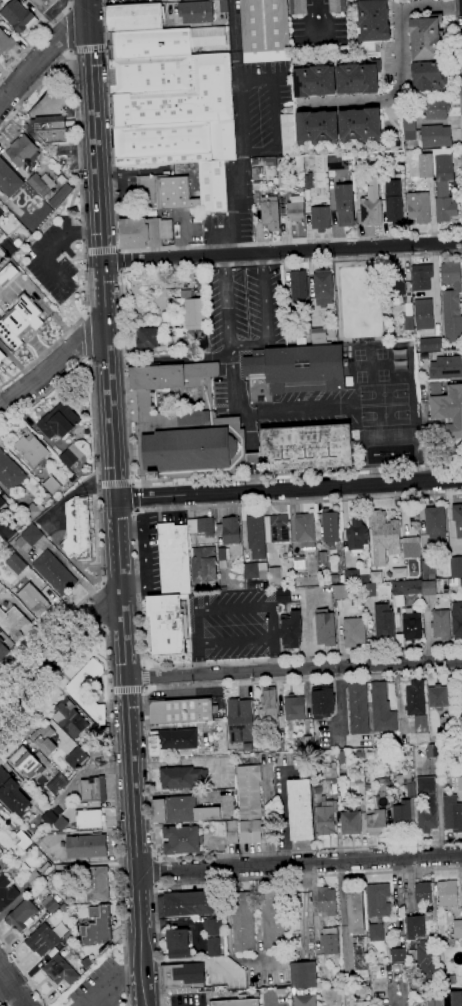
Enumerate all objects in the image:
building: (44, 4)
building: (223, 6)
building: (337, 6)
building: (297, 7)
building: (196, 12)
building: (17, 16)
building: (134, 18)
building: (374, 20)
road: (67, 30)
building: (265, 30)
building: (208, 37)
building: (426, 38)
road: (35, 39)
building: (6, 42)
building: (150, 44)
road: (89, 48)
road: (40, 59)
road: (458, 69)
road: (400, 72)
building: (152, 74)
building: (429, 76)
building: (358, 77)
building: (314, 80)
building: (182, 98)
building: (435, 109)
road: (275, 115)
building: (360, 125)
building: (317, 127)
building: (409, 127)
building: (52, 128)
road: (76, 128)
road: (240, 131)
building: (288, 135)
building: (436, 136)
building: (174, 143)
building: (22, 151)
building: (237, 155)
building: (270, 161)
building: (337, 161)
building: (254, 162)
building: (426, 166)
building: (256, 173)
building: (9, 180)
building: (308, 180)
building: (359, 180)
building: (443, 184)
building: (41, 185)
building: (212, 186)
building: (256, 187)
building: (165, 193)
building: (60, 195)
building: (282, 200)
building: (393, 202)
building: (344, 205)
building: (371, 205)
building: (296, 207)
building: (419, 208)
building: (282, 212)
building: (1, 213)
building: (270, 213)
building: (320, 218)
building: (33, 221)
building: (144, 232)
building: (9, 246)
road: (165, 247)
road: (101, 251)
road: (282, 252)
road: (119, 261)
building: (7, 271)
building: (422, 277)
building: (397, 283)
building: (298, 287)
building: (323, 287)
road: (227, 301)
building: (451, 304)
building: (195, 314)
building: (424, 314)
road: (266, 317)
building: (19, 321)
building: (408, 323)
building: (296, 332)
road: (87, 335)
building: (318, 336)
building: (147, 338)
building: (430, 345)
road: (45, 351)
building: (2, 356)
building: (401, 361)
road: (52, 365)
building: (298, 368)
building: (446, 368)
road: (125, 372)
park: (383, 395)
building: (144, 399)
road: (238, 402)
road: (301, 410)
park: (384, 415)
building: (446, 417)
building: (58, 421)
building: (305, 448)
building: (31, 449)
building: (196, 450)
building: (71, 455)
road: (253, 458)
building: (10, 472)
road: (254, 476)
building: (51, 484)
road: (114, 484)
road: (288, 488)
road: (98, 489)
road: (136, 498)
building: (2, 502)
road: (116, 502)
building: (31, 512)
building: (457, 519)
building: (330, 527)
building: (279, 528)
building: (437, 529)
building: (77, 530)
building: (229, 530)
building: (305, 530)
building: (6, 531)
building: (357, 535)
building: (29, 536)
building: (256, 536)
building: (383, 537)
building: (411, 547)
building: (202, 550)
road: (141, 553)
building: (223, 557)
building: (323, 557)
building: (174, 559)
building: (15, 563)
building: (299, 563)
building: (456, 567)
building: (254, 569)
building: (428, 570)
building: (398, 572)
building: (54, 573)
building: (274, 576)
building: (355, 577)
building: (376, 577)
building: (335, 578)
building: (455, 582)
road: (103, 583)
road: (139, 584)
building: (407, 587)
building: (428, 588)
building: (369, 590)
building: (342, 592)
building: (283, 596)
building: (33, 599)
road: (104, 605)
road: (234, 608)
building: (457, 619)
building: (13, 623)
building: (384, 623)
building: (167, 624)
building: (441, 624)
building: (412, 625)
road: (103, 627)
building: (291, 629)
building: (326, 629)
building: (354, 631)
road: (273, 638)
road: (236, 641)
road: (197, 642)
building: (3, 651)
road: (57, 653)
road: (144, 666)
road: (294, 669)
road: (144, 676)
building: (461, 685)
road: (146, 687)
road: (129, 689)
road: (111, 690)
building: (438, 697)
building: (82, 698)
building: (415, 698)
building: (323, 701)
building: (294, 708)
building: (358, 709)
building: (268, 710)
building: (382, 710)
building: (182, 711)
building: (69, 719)
building: (239, 722)
building: (421, 723)
building: (448, 731)
building: (44, 739)
road: (112, 739)
building: (171, 741)
building: (307, 742)
building: (278, 744)
building: (433, 750)
building: (77, 755)
building: (342, 757)
building: (315, 759)
building: (26, 763)
road: (149, 769)
building: (69, 770)
building: (331, 771)
building: (180, 777)
building: (404, 778)
building: (8, 783)
building: (57, 784)
building: (383, 784)
building: (367, 787)
building: (93, 790)
building: (250, 804)
building: (427, 805)
building: (182, 810)
building: (300, 810)
building: (405, 811)
building: (323, 812)
building: (452, 814)
building: (49, 818)
building: (89, 819)
building: (350, 822)
building: (376, 822)
building: (61, 824)
building: (227, 830)
building: (26, 839)
building: (182, 840)
building: (86, 846)
road: (299, 864)
building: (45, 868)
building: (34, 879)
road: (248, 879)
building: (90, 880)
building: (422, 893)
building: (6, 894)
building: (447, 894)
building: (378, 900)
building: (326, 901)
building: (49, 904)
building: (186, 904)
building: (355, 910)
building: (21, 915)
building: (60, 915)
building: (242, 922)
building: (272, 922)
building: (97, 926)
building: (213, 926)
building: (415, 927)
building: (457, 929)
building: (376, 932)
building: (43, 940)
building: (329, 941)
building: (178, 943)
building: (213, 947)
building: (398, 955)
building: (360, 957)
building: (428, 960)
building: (86, 963)
building: (60, 970)
road: (24, 972)
building: (183, 975)
building: (303, 975)
road: (111, 987)
road: (7, 994)
building: (453, 998)
building: (305, 999)
road: (269, 1002)
building: (434, 1002)
building: (236, 1003)
building: (363, 1004)

